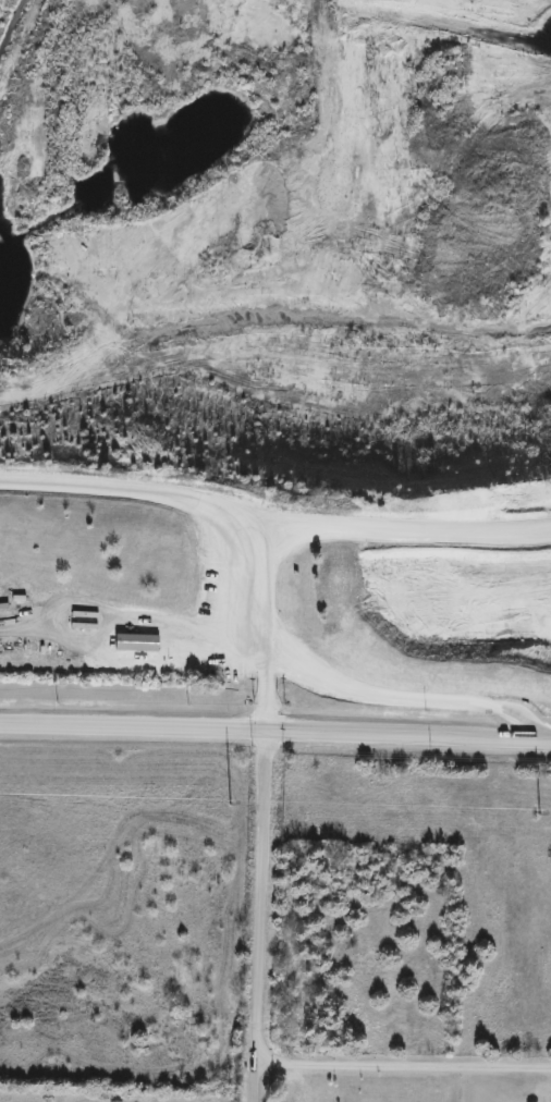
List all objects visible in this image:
road: (273, 527)
road: (194, 627)
road: (344, 683)
road: (268, 699)
road: (275, 737)
road: (257, 919)
road: (401, 1063)

